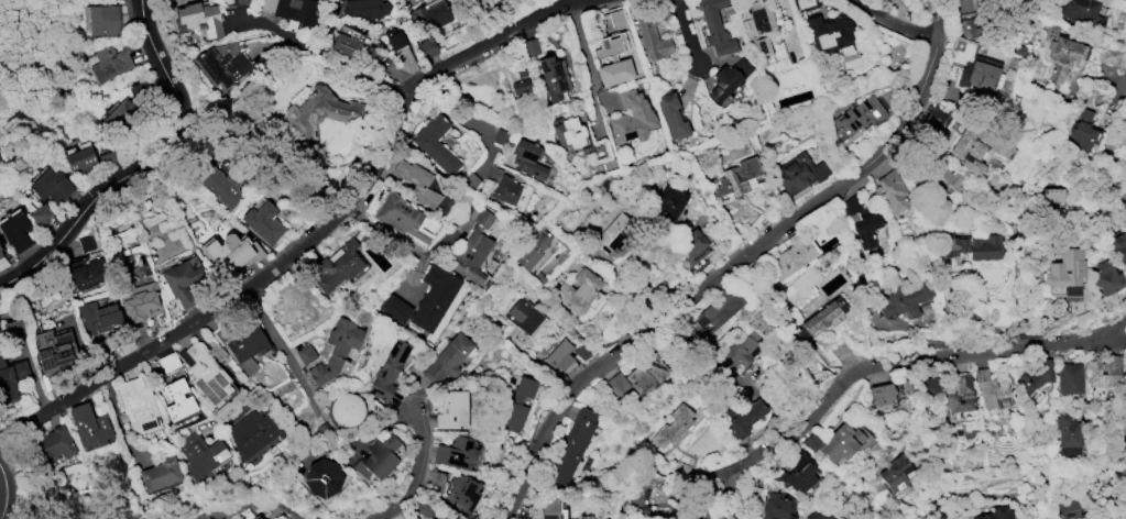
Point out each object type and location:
building: (239, 1)
building: (498, 1)
building: (883, 1)
building: (803, 4)
building: (364, 9)
building: (293, 11)
building: (1080, 11)
building: (427, 15)
building: (616, 16)
building: (103, 19)
building: (197, 19)
road: (890, 22)
building: (715, 26)
building: (758, 26)
building: (652, 32)
building: (828, 32)
road: (686, 34)
building: (393, 37)
building: (347, 42)
building: (426, 46)
building: (531, 46)
road: (583, 46)
building: (1061, 52)
building: (1111, 54)
road: (325, 56)
building: (612, 59)
building: (110, 62)
building: (221, 66)
building: (980, 73)
building: (553, 76)
building: (728, 78)
road: (1120, 81)
building: (520, 86)
building: (116, 111)
building: (317, 112)
building: (671, 114)
building: (632, 117)
building: (856, 117)
building: (933, 118)
building: (567, 131)
building: (1082, 131)
building: (499, 135)
building: (436, 143)
building: (976, 147)
building: (80, 158)
building: (107, 158)
building: (527, 158)
road: (146, 165)
building: (798, 173)
building: (736, 179)
building: (469, 180)
building: (416, 181)
building: (953, 183)
building: (221, 184)
building: (51, 185)
building: (505, 189)
building: (893, 191)
building: (1051, 197)
building: (668, 201)
building: (1124, 208)
building: (40, 214)
building: (401, 216)
building: (263, 221)
building: (862, 222)
road: (329, 223)
building: (14, 230)
road: (384, 233)
building: (610, 233)
building: (969, 245)
building: (1118, 245)
building: (690, 246)
building: (472, 249)
building: (532, 249)
building: (230, 251)
building: (0, 254)
building: (790, 256)
road: (732, 263)
building: (336, 266)
building: (1067, 270)
building: (85, 272)
road: (417, 277)
building: (1107, 277)
building: (182, 278)
building: (578, 290)
building: (424, 299)
building: (904, 300)
building: (139, 301)
building: (717, 310)
building: (523, 314)
building: (97, 316)
building: (821, 317)
road: (1120, 336)
building: (247, 347)
building: (739, 349)
building: (52, 350)
building: (840, 350)
building: (336, 351)
building: (305, 353)
building: (559, 355)
building: (447, 357)
building: (167, 361)
road: (882, 367)
building: (387, 369)
building: (1103, 371)
building: (205, 374)
building: (638, 376)
building: (1036, 376)
building: (1068, 377)
building: (11, 378)
building: (992, 389)
road: (308, 394)
building: (960, 394)
building: (879, 395)
building: (177, 399)
building: (518, 402)
building: (136, 404)
building: (346, 408)
building: (451, 410)
building: (742, 416)
road: (17, 422)
road: (118, 422)
building: (88, 424)
building: (674, 426)
building: (1125, 431)
building: (252, 432)
building: (1069, 433)
building: (834, 442)
building: (53, 443)
building: (572, 444)
building: (455, 452)
building: (200, 454)
building: (376, 457)
building: (680, 468)
road: (416, 472)
building: (797, 472)
building: (158, 473)
building: (896, 473)
road: (18, 474)
building: (320, 477)
building: (436, 478)
road: (3, 492)
building: (461, 492)
building: (644, 492)
road: (732, 495)
road: (245, 496)
building: (424, 507)
building: (776, 507)
building: (1068, 507)
building: (550, 508)
road: (689, 509)
building: (818, 512)
building: (995, 514)
building: (587, 516)
building: (255, 517)
building: (445, 517)
building: (151, 518)
building: (435, 518)

